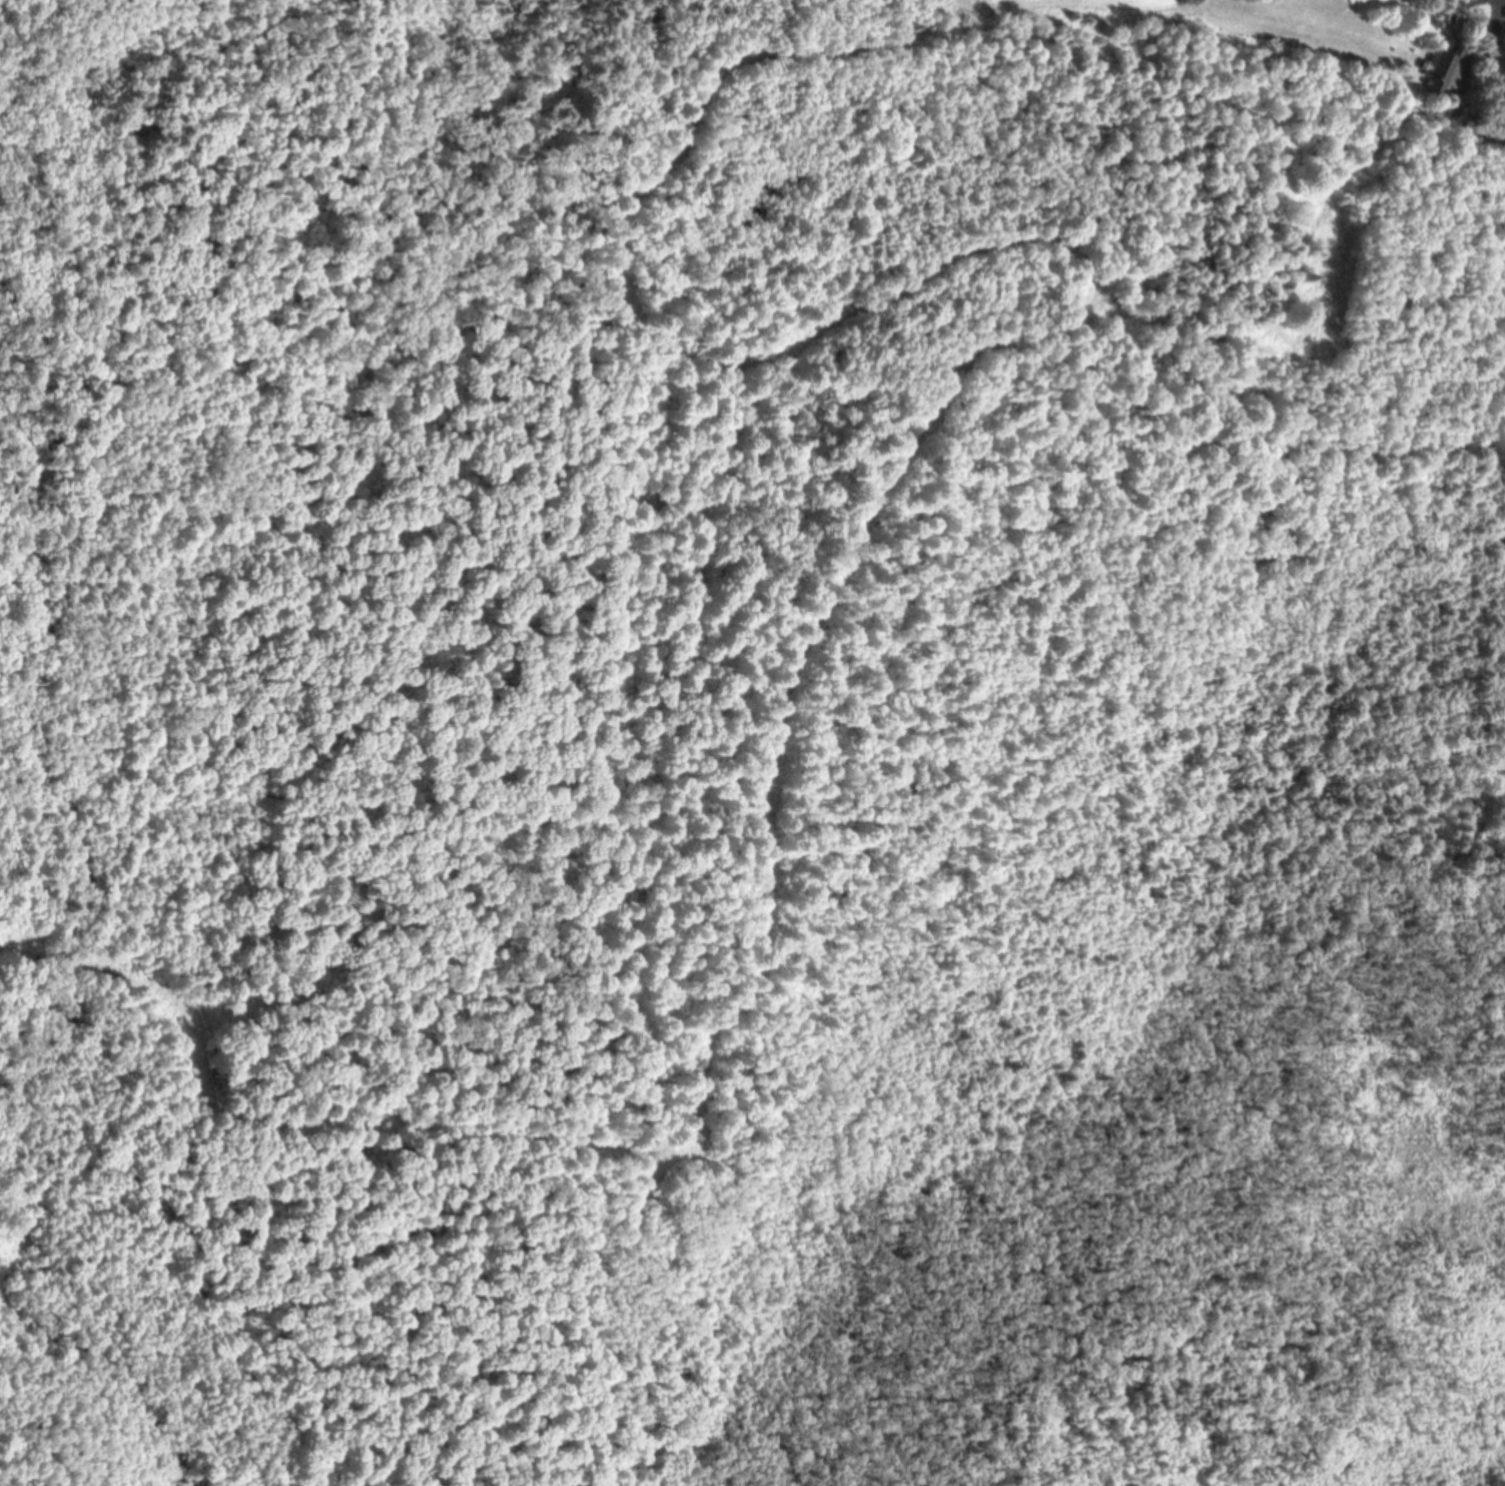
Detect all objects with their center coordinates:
building: (1495, 60)
building: (1442, 73)

